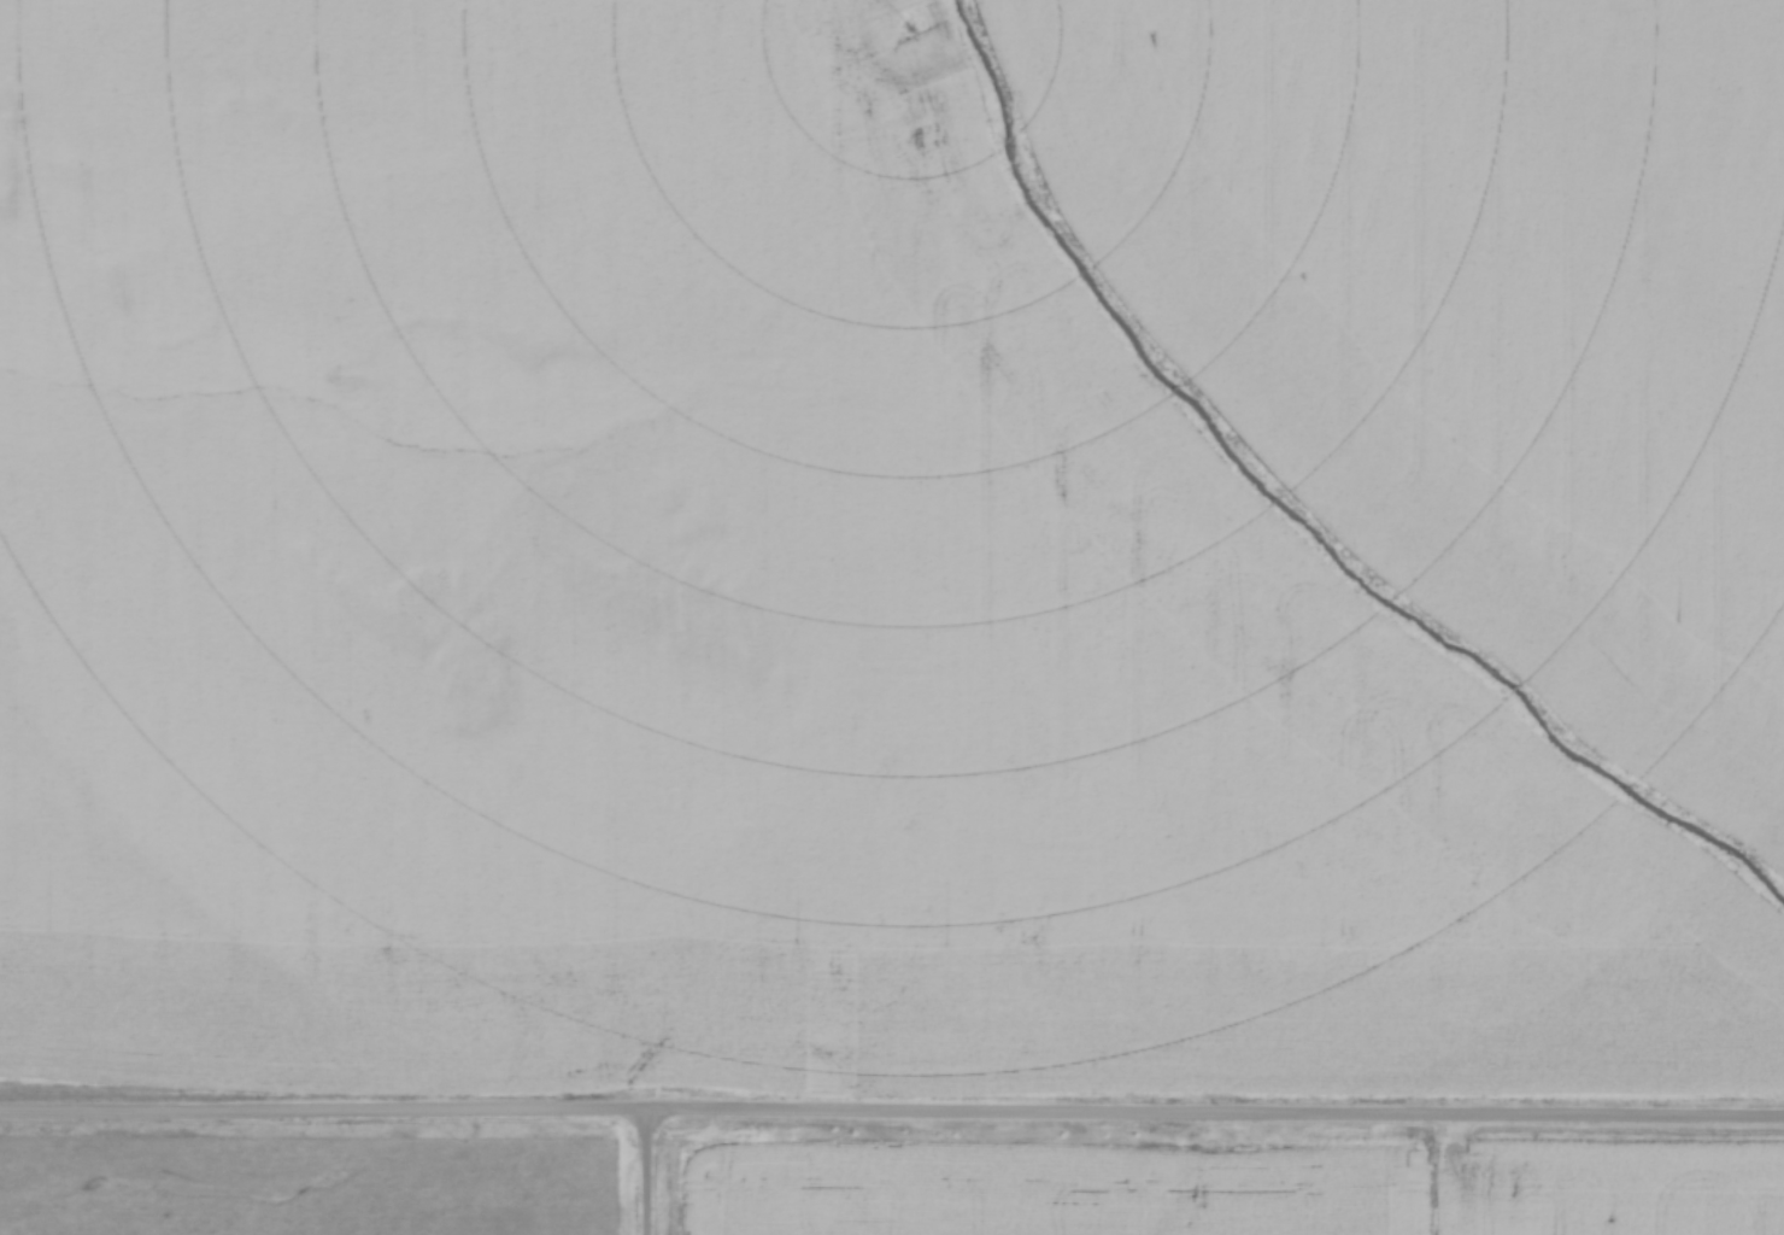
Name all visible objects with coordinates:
road: (891, 1117)
road: (647, 1176)

